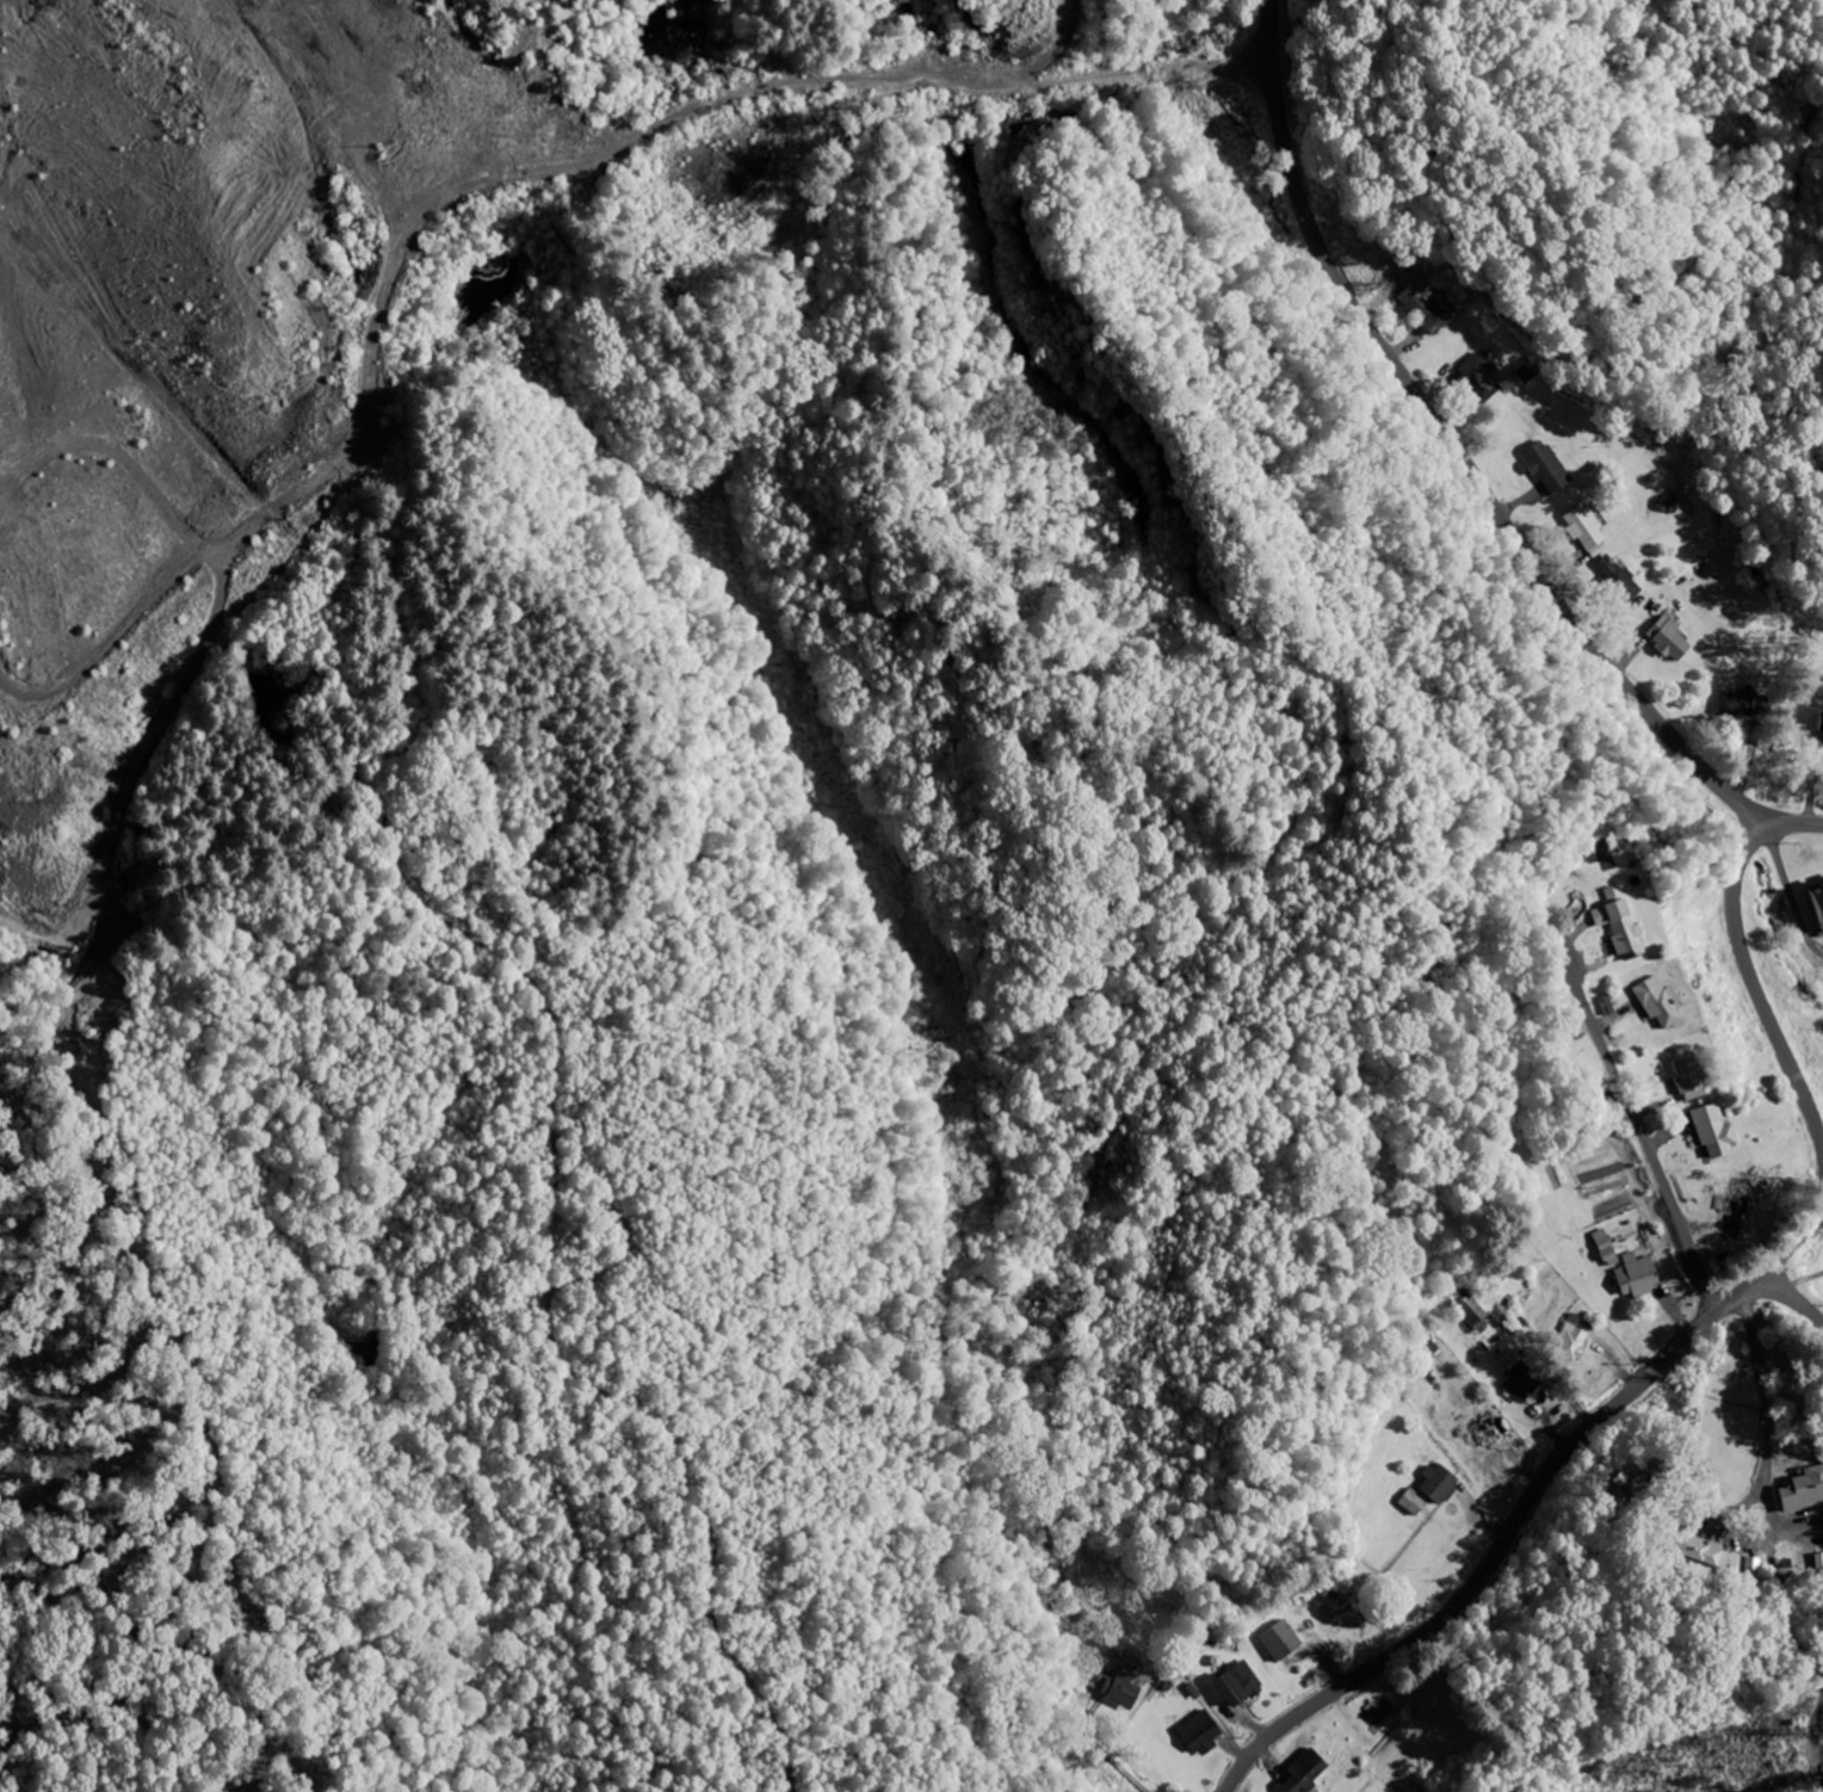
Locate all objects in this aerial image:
road: (898, 84)
road: (1756, 125)
building: (1416, 301)
building: (1473, 378)
road: (1457, 445)
building: (1544, 464)
building: (1582, 526)
building: (1614, 577)
building: (1667, 637)
building: (1735, 703)
building: (1822, 725)
building: (1813, 903)
building: (1615, 927)
road: (1743, 953)
building: (1655, 1002)
road: (1640, 1125)
building: (1710, 1130)
building: (1732, 1201)
building: (1636, 1277)
road: (1794, 1296)
building: (1471, 1312)
road: (549, 1316)
building: (1570, 1335)
building: (1519, 1379)
road: (1768, 1401)
building: (1485, 1426)
building: (1435, 1482)
building: (1802, 1487)
road: (1526, 1502)
building: (1277, 1638)
building: (1234, 1681)
building: (1117, 1687)
building: (1195, 1734)
road: (1105, 1751)
building: (1303, 1771)

